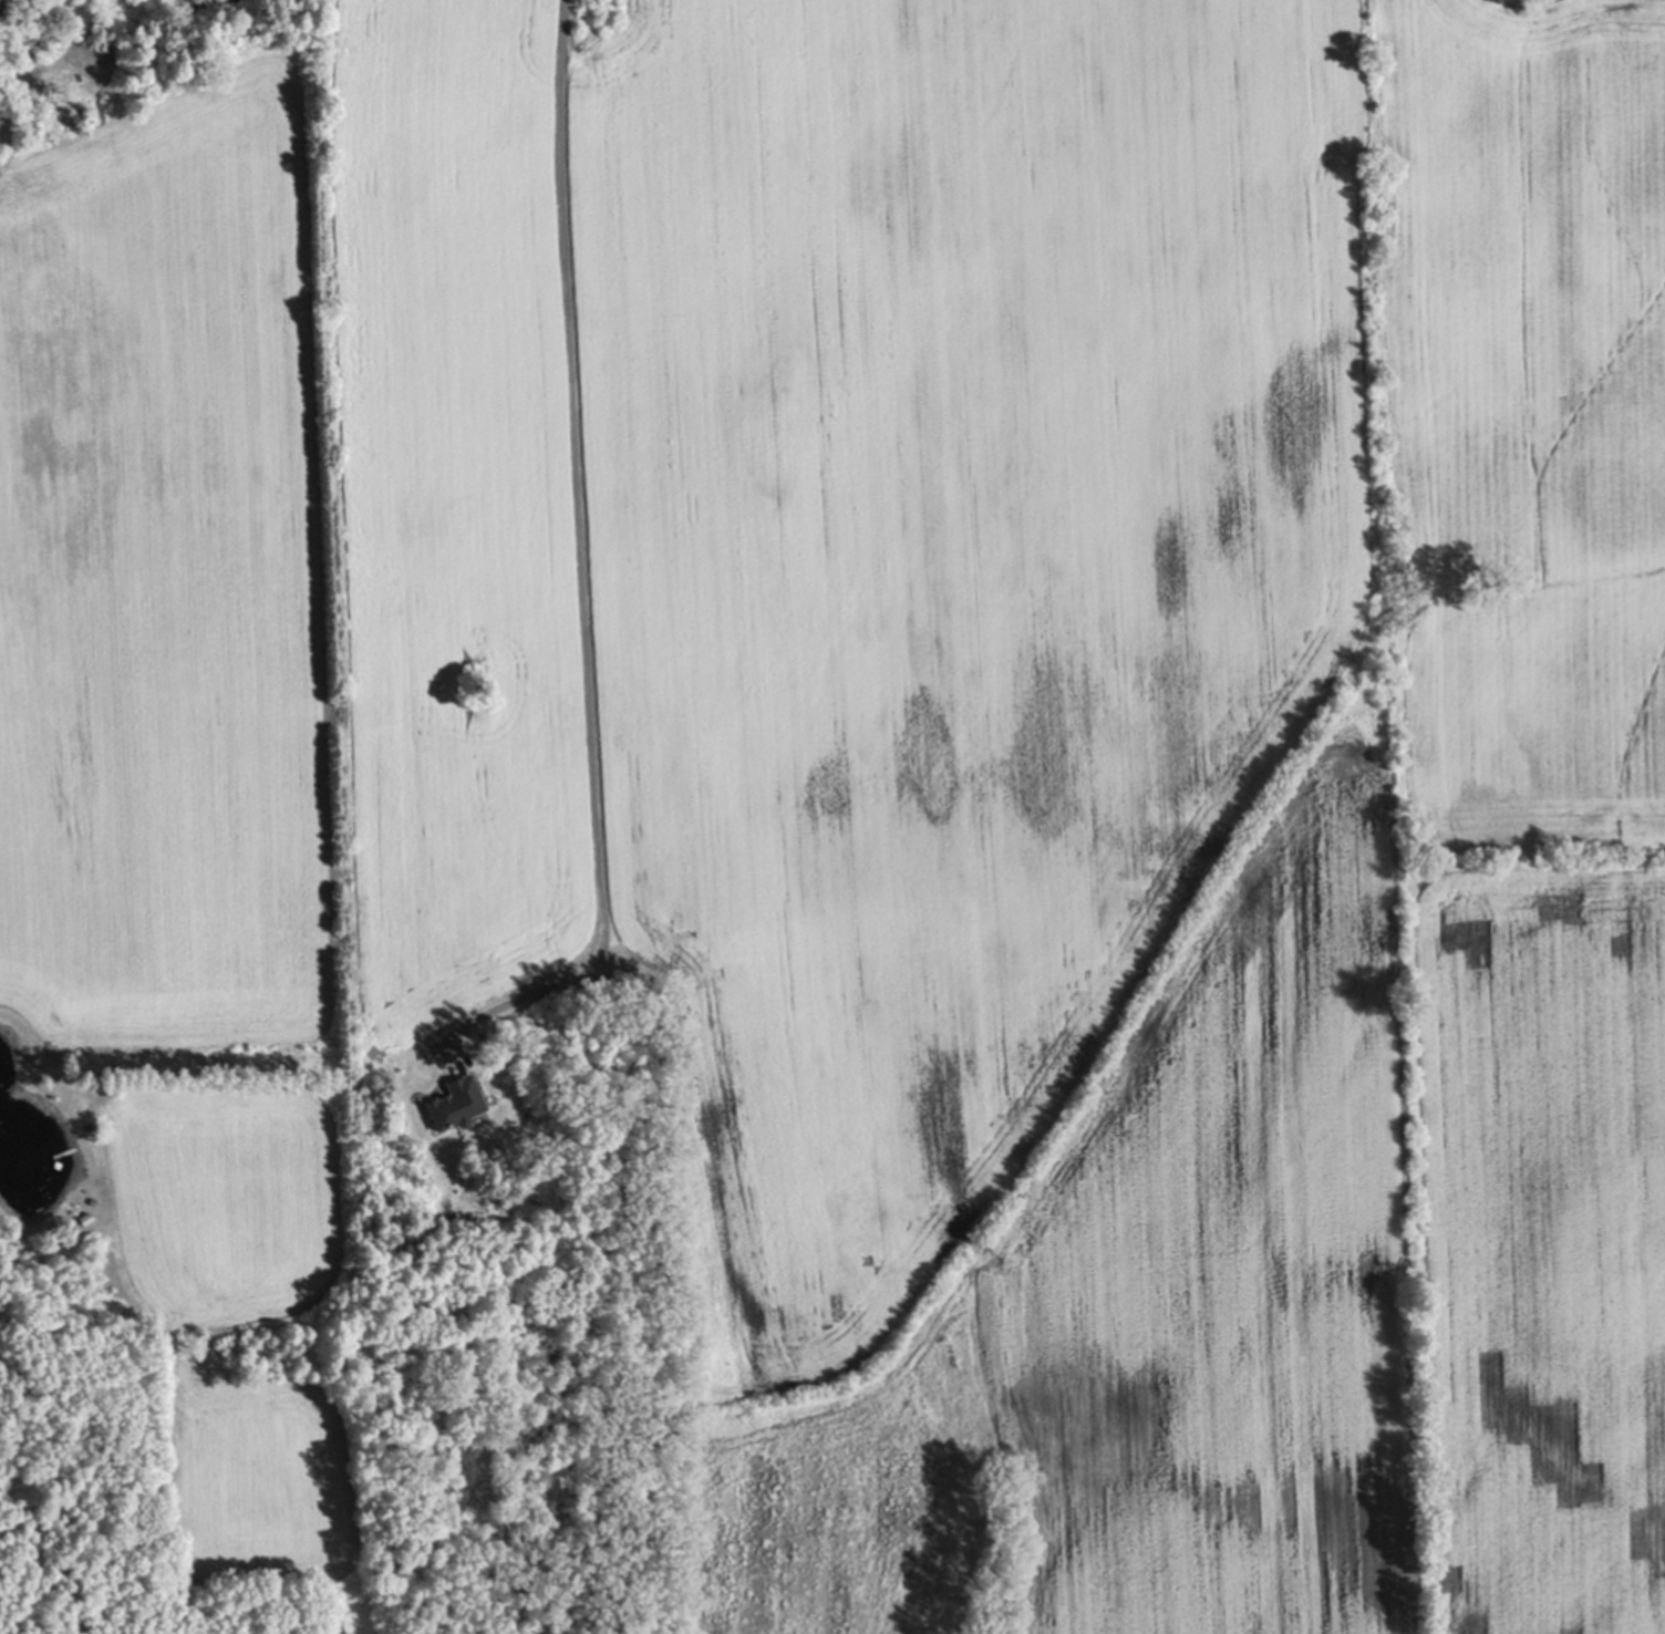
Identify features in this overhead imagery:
road: (586, 572)
crop: (924, 742)
building: (455, 1105)

